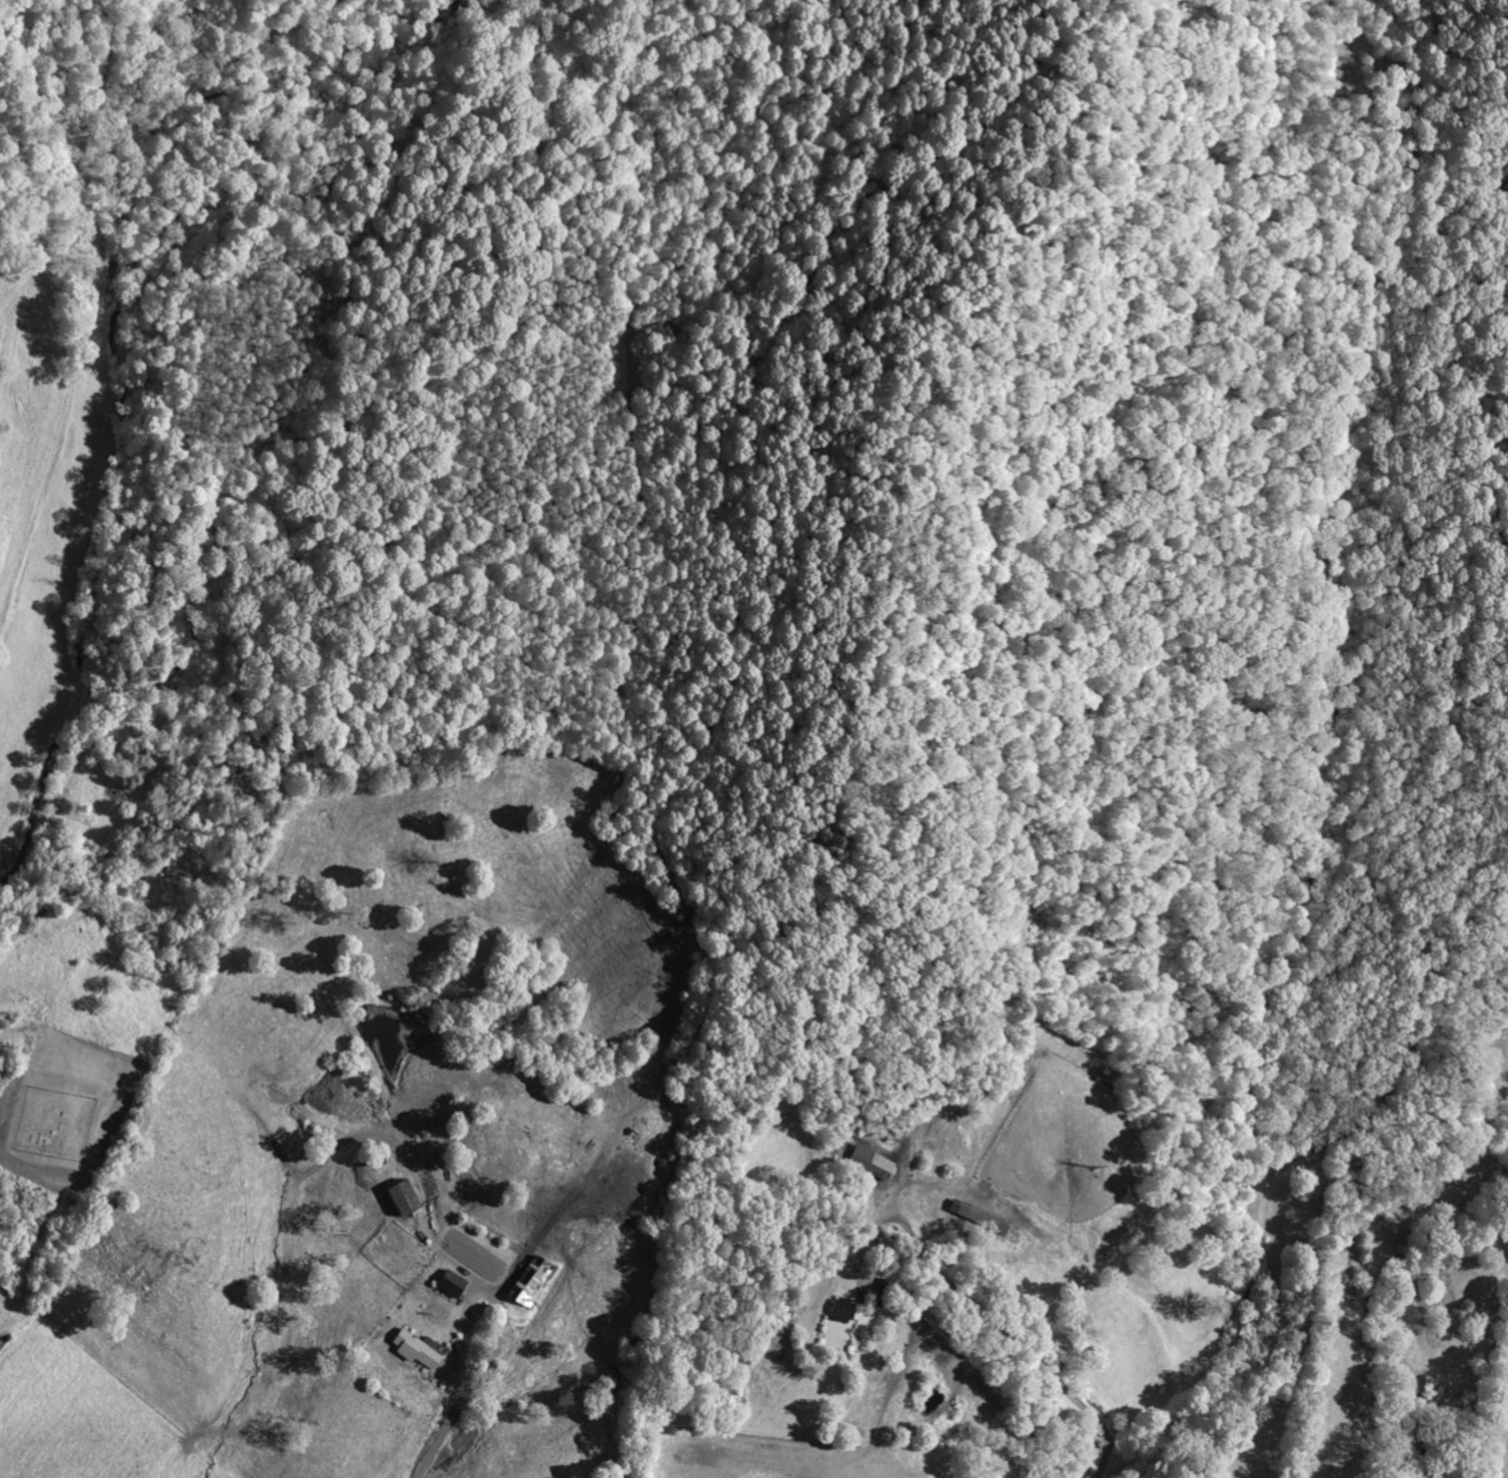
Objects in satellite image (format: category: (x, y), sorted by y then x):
building: (873, 1163)
building: (407, 1198)
building: (980, 1219)
building: (453, 1285)
building: (844, 1311)
building: (419, 1350)

